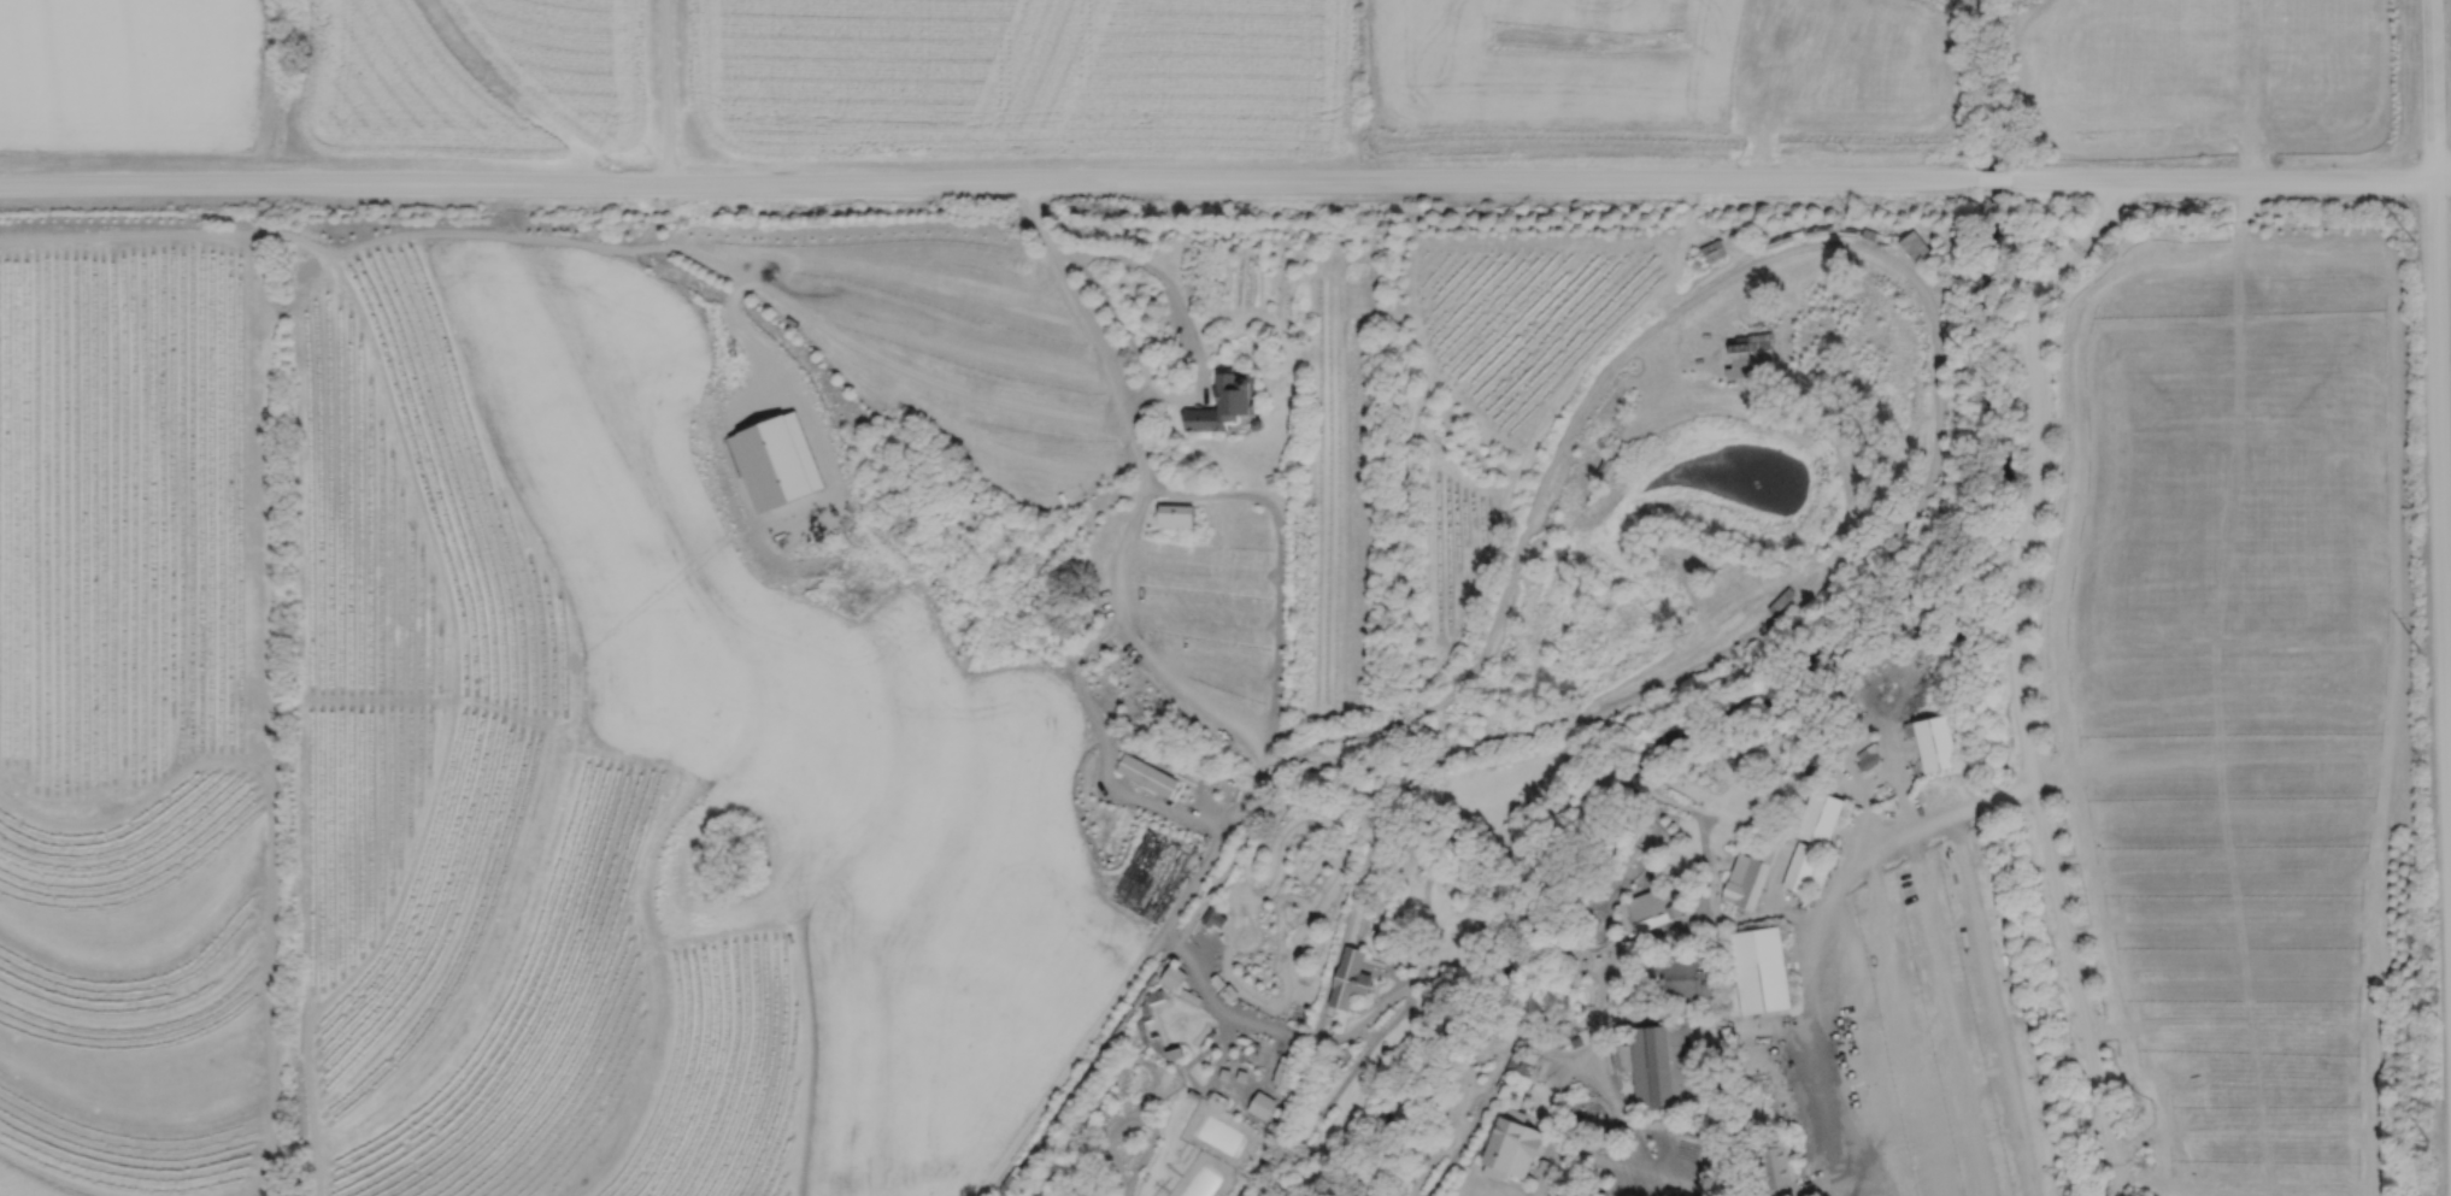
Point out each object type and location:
crop: (982, 83)
road: (2249, 89)
road: (664, 92)
road: (1993, 177)
road: (987, 179)
road: (2229, 179)
road: (1039, 225)
power tower: (2412, 242)
building: (1915, 249)
building: (1712, 252)
road: (1162, 393)
building: (1224, 406)
road: (2439, 495)
road: (1200, 568)
road: (1198, 615)
road: (1133, 631)
power tower: (2418, 650)
road: (2016, 676)
road: (1268, 694)
parking lot: (2232, 697)
theme park: (1364, 719)
road: (1097, 750)
building: (1815, 818)
building: (1621, 861)
building: (1801, 867)
building: (1750, 876)
building: (1648, 909)
building: (1215, 915)
road: (1806, 927)
building: (1761, 968)
building: (1348, 978)
building: (1680, 979)
parking lot: (1928, 1032)
building: (1527, 1064)
building: (1657, 1067)
building: (1283, 1074)
building: (1262, 1104)
power tower: (2431, 1120)
road: (1468, 1127)
building: (1775, 1165)
road: (1622, 1174)
road: (1615, 1184)
road: (1801, 1185)
building: (1592, 1194)

